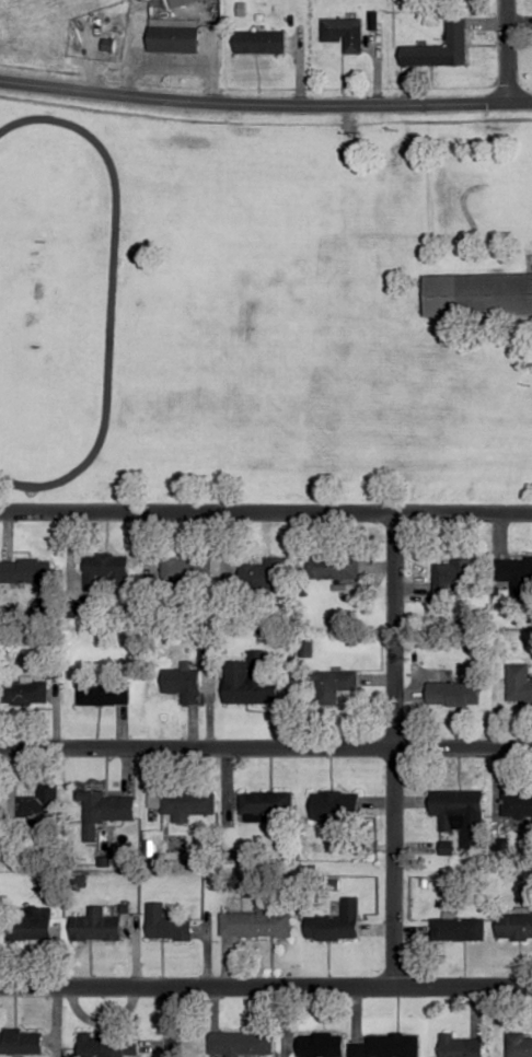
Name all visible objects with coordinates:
building: (453, 0)
building: (195, 1)
building: (343, 33)
building: (174, 36)
building: (261, 43)
building: (441, 47)
road: (501, 53)
road: (265, 106)
building: (477, 294)
road: (266, 513)
building: (332, 567)
building: (106, 569)
building: (25, 570)
building: (454, 572)
building: (514, 574)
building: (263, 576)
building: (251, 681)
building: (183, 684)
building: (332, 685)
building: (517, 687)
building: (25, 694)
building: (103, 694)
building: (453, 694)
road: (391, 750)
road: (265, 754)
building: (39, 803)
building: (187, 803)
building: (264, 804)
building: (454, 804)
building: (517, 804)
building: (335, 806)
building: (104, 811)
building: (256, 924)
building: (335, 924)
building: (31, 925)
building: (166, 925)
building: (514, 925)
building: (96, 926)
building: (459, 929)
road: (265, 986)
road: (163, 1021)
building: (19, 1042)
building: (241, 1044)
building: (320, 1044)
building: (519, 1045)
building: (103, 1046)
building: (386, 1046)
building: (462, 1046)

